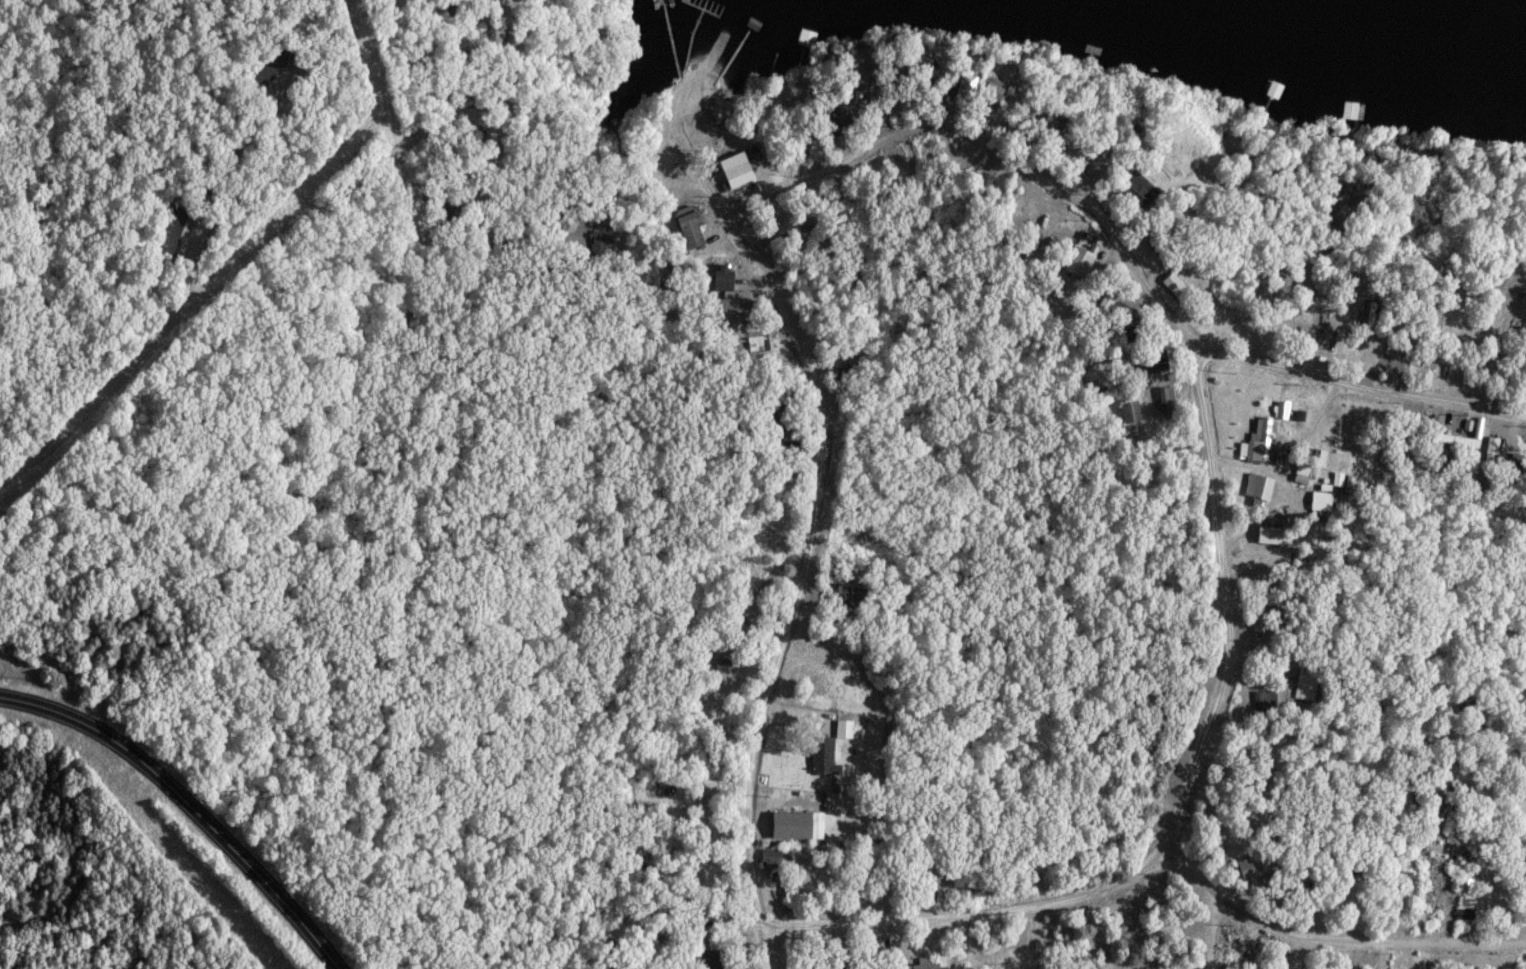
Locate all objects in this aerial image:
river: (1319, 25)
road: (491, 37)
building: (271, 68)
building: (894, 70)
building: (931, 76)
building: (994, 93)
building: (830, 110)
road: (169, 116)
building: (882, 117)
building: (1056, 123)
road: (995, 150)
road: (664, 168)
road: (340, 194)
building: (172, 234)
road: (191, 238)
building: (602, 245)
road: (533, 252)
building: (726, 278)
building: (1177, 288)
building: (742, 312)
building: (1137, 332)
building: (1422, 334)
building: (1322, 343)
building: (761, 345)
building: (1393, 348)
building: (1153, 365)
road: (1361, 388)
building: (1169, 403)
building: (1285, 411)
building: (1133, 413)
building: (781, 414)
building: (1265, 440)
building: (1514, 470)
building: (1265, 489)
building: (1272, 537)
road: (802, 571)
building: (726, 667)
building: (1309, 684)
building: (1264, 701)
building: (846, 730)
building: (824, 757)
building: (1279, 767)
road: (1365, 775)
road: (189, 804)
road: (1185, 810)
building: (1435, 850)
building: (771, 859)
building: (799, 884)
building: (1468, 886)
building: (931, 895)
road: (1213, 937)
road: (1329, 946)
road: (764, 952)
building: (713, 960)
building: (834, 967)
building: (918, 967)

